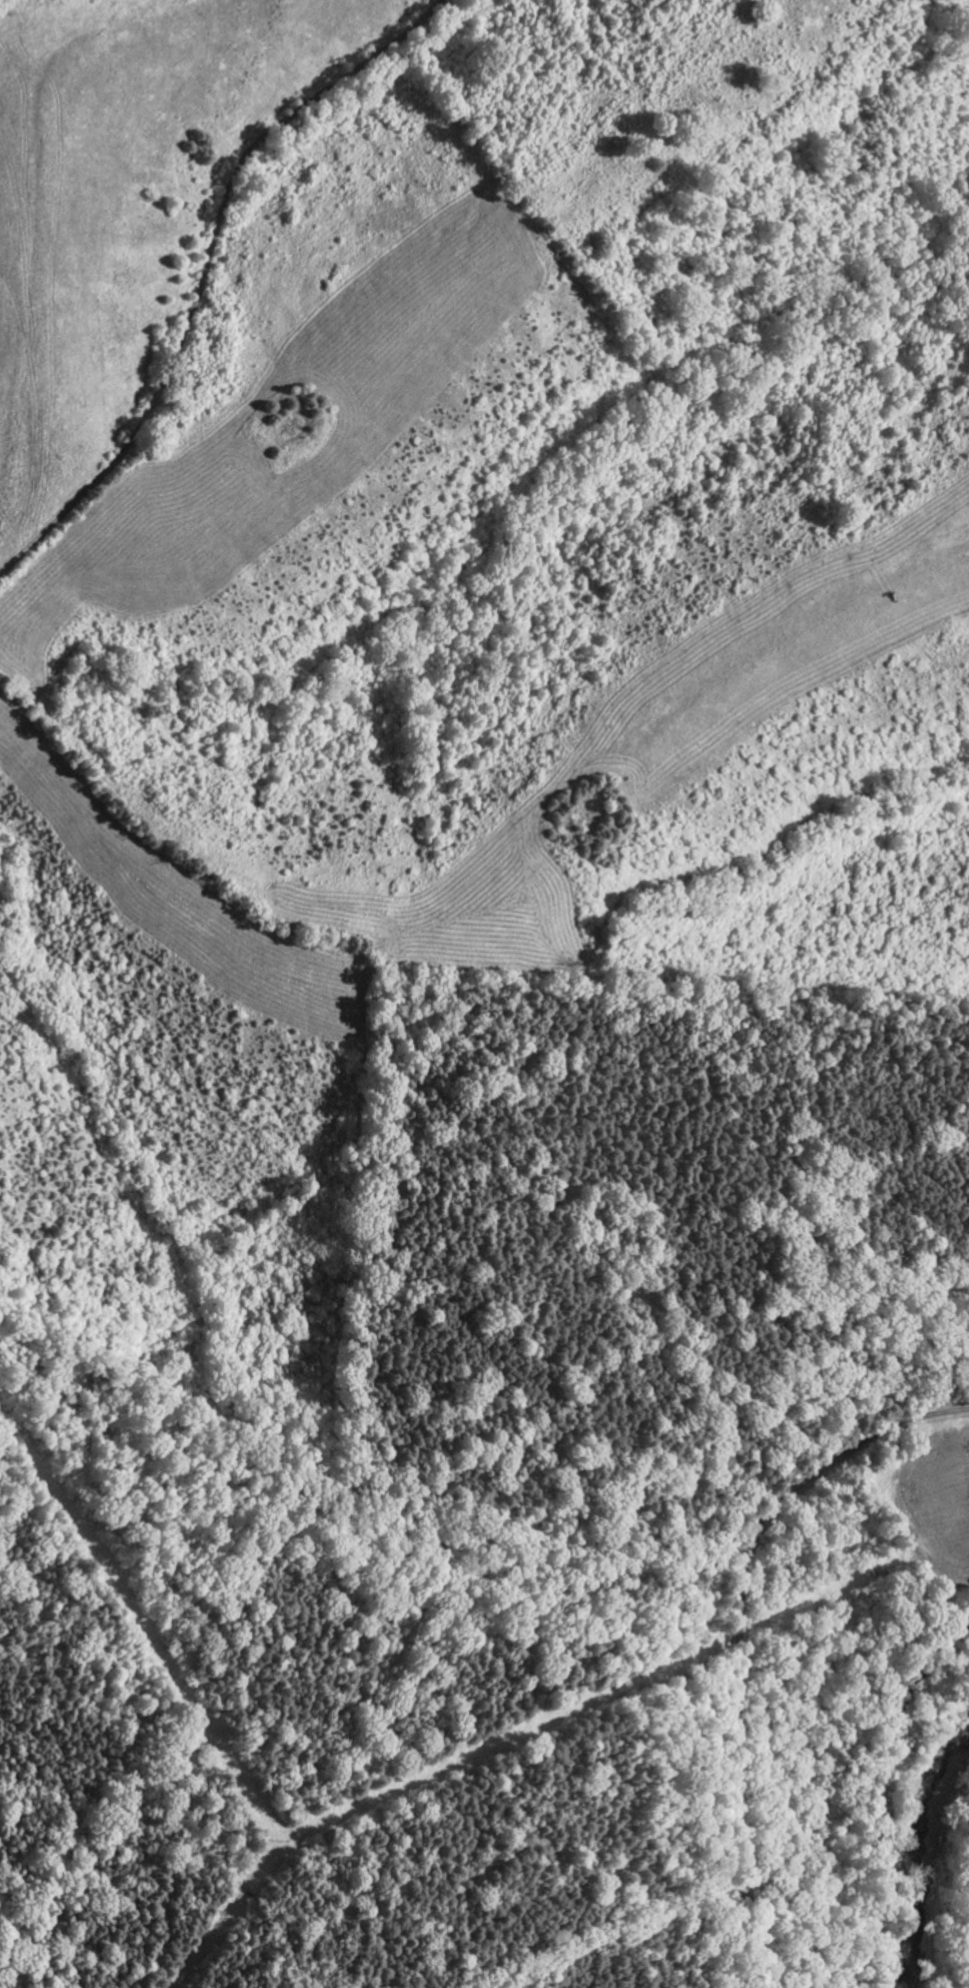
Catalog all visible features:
road: (742, 1635)

